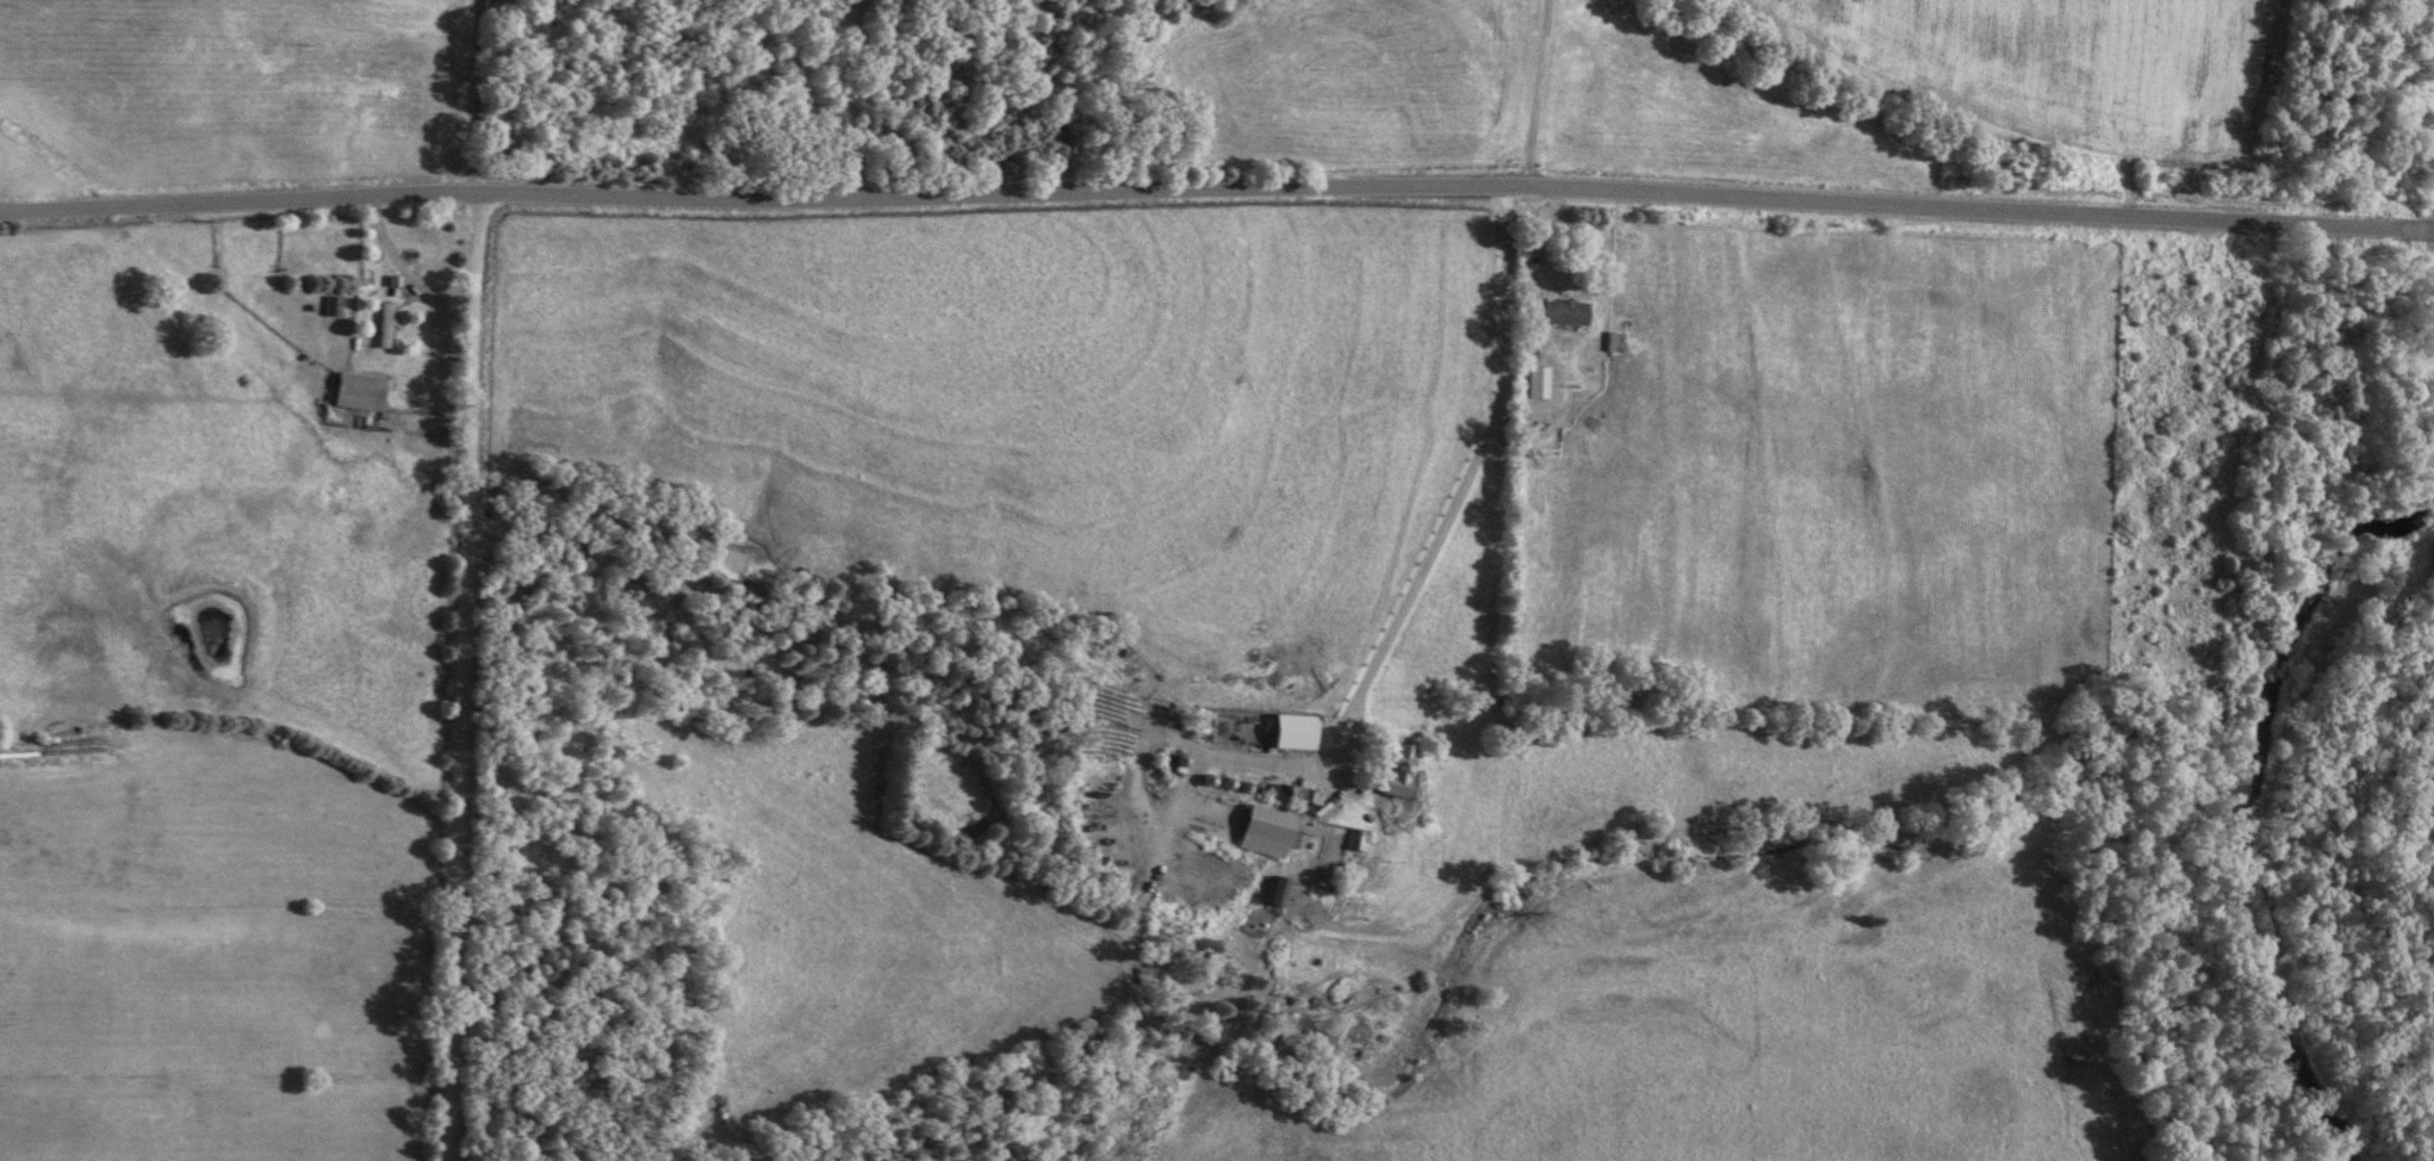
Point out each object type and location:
road: (473, 95)
road: (1144, 188)
road: (2361, 228)
road: (402, 268)
building: (331, 305)
building: (1563, 312)
building: (381, 325)
building: (1535, 383)
building: (356, 391)
road: (1499, 392)
road: (468, 675)
building: (1396, 762)
building: (1352, 840)
building: (1271, 893)

